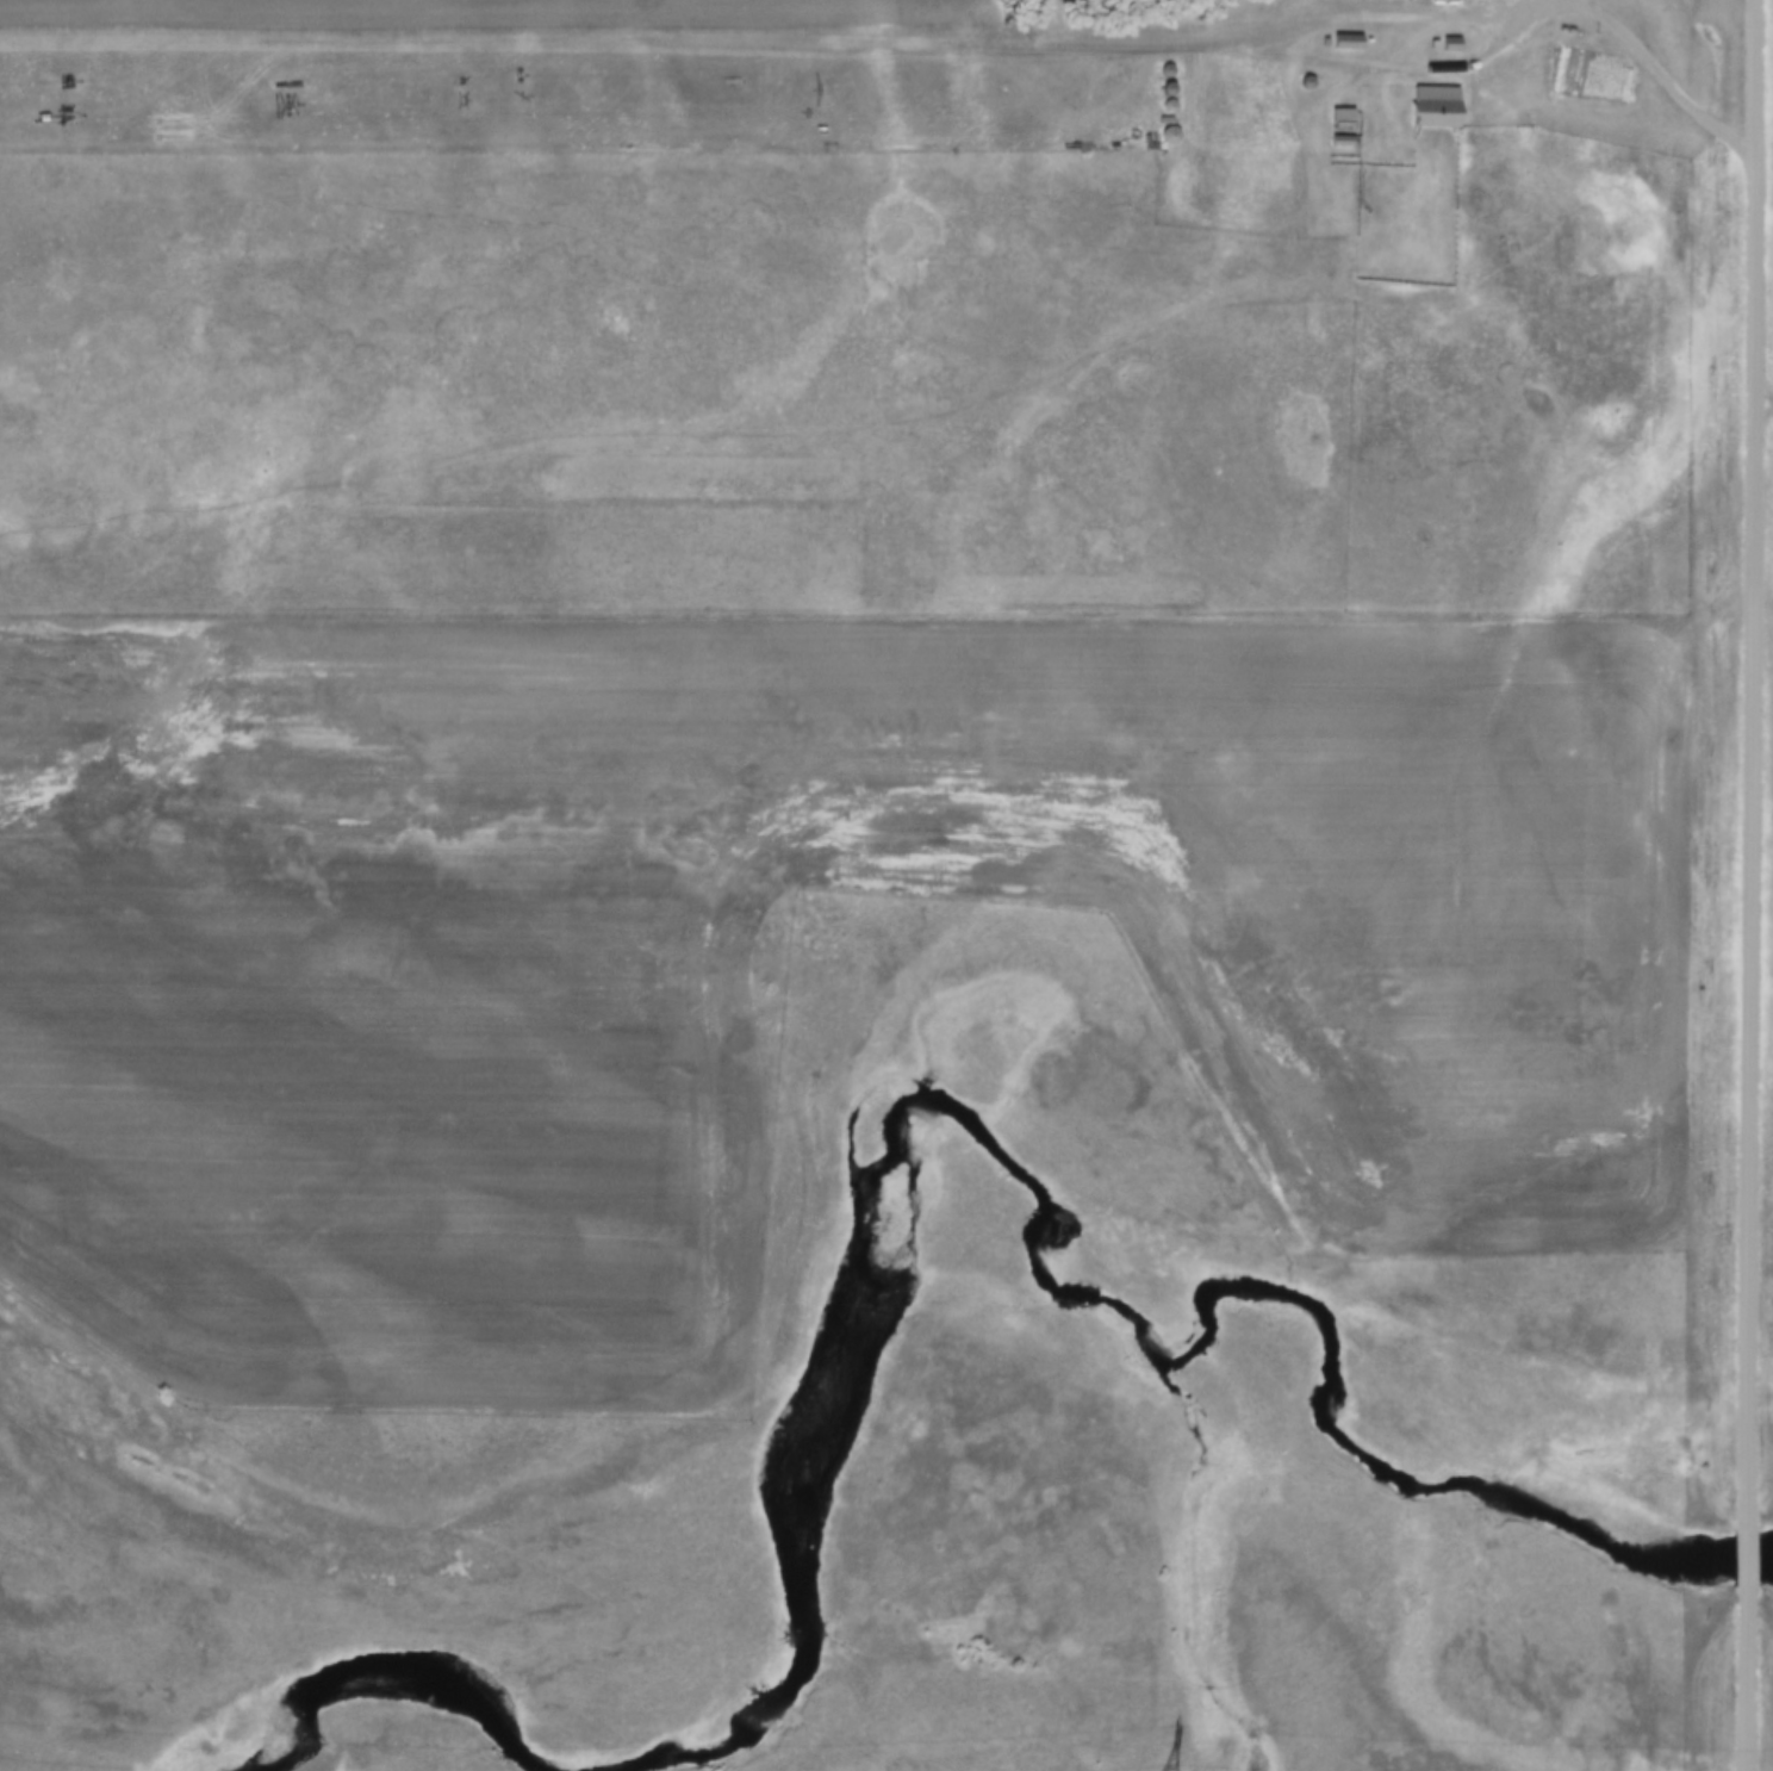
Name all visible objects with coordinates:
road: (1392, 17)
building: (1349, 43)
road: (1663, 79)
building: (1437, 108)
road: (1752, 762)
building: (580, 1127)
road: (1749, 1552)
road: (1748, 1674)

